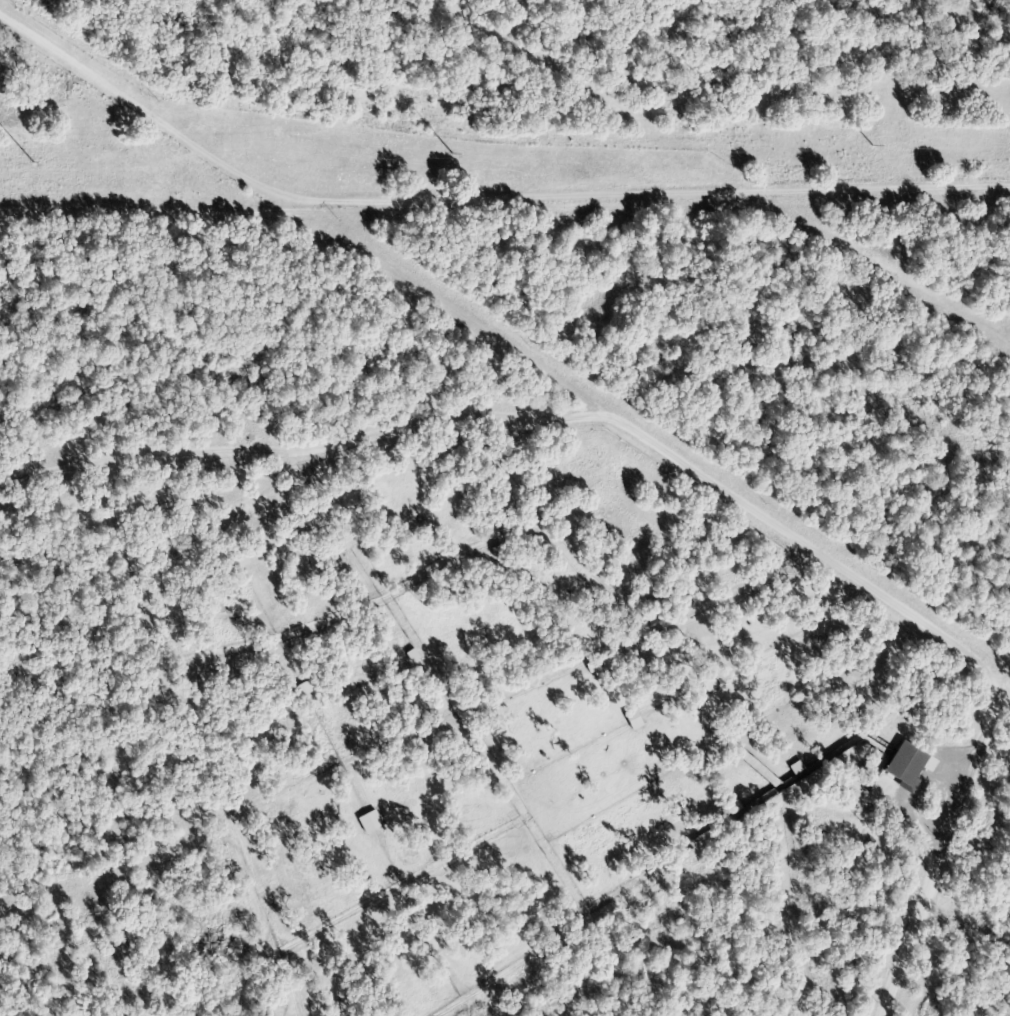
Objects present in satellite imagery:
road: (478, 189)

